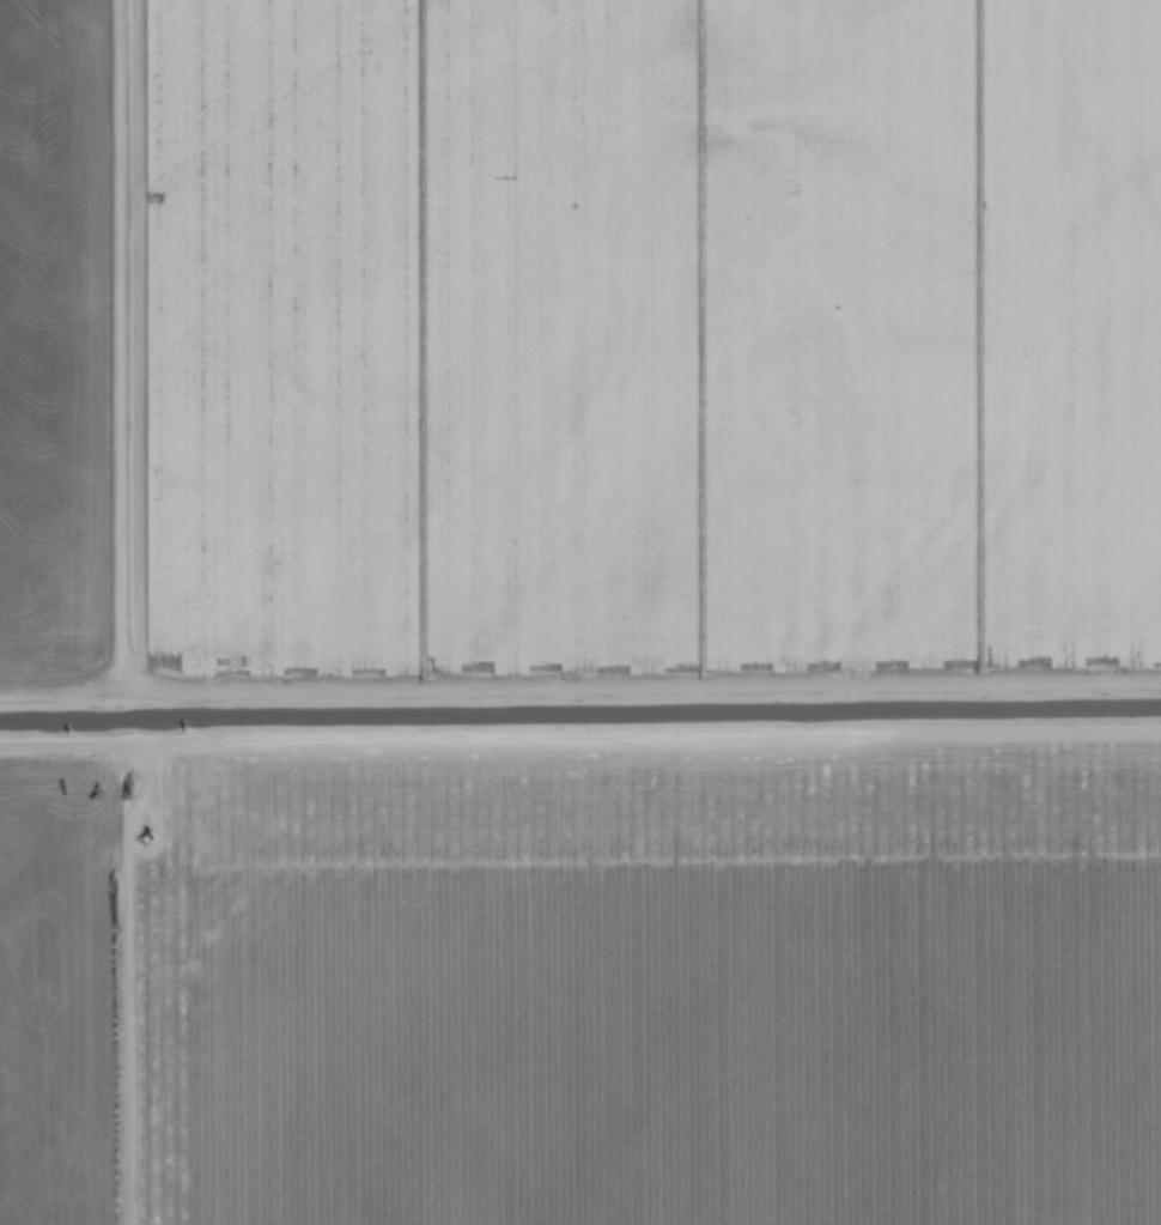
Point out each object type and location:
road: (1089, 366)
road: (579, 735)

